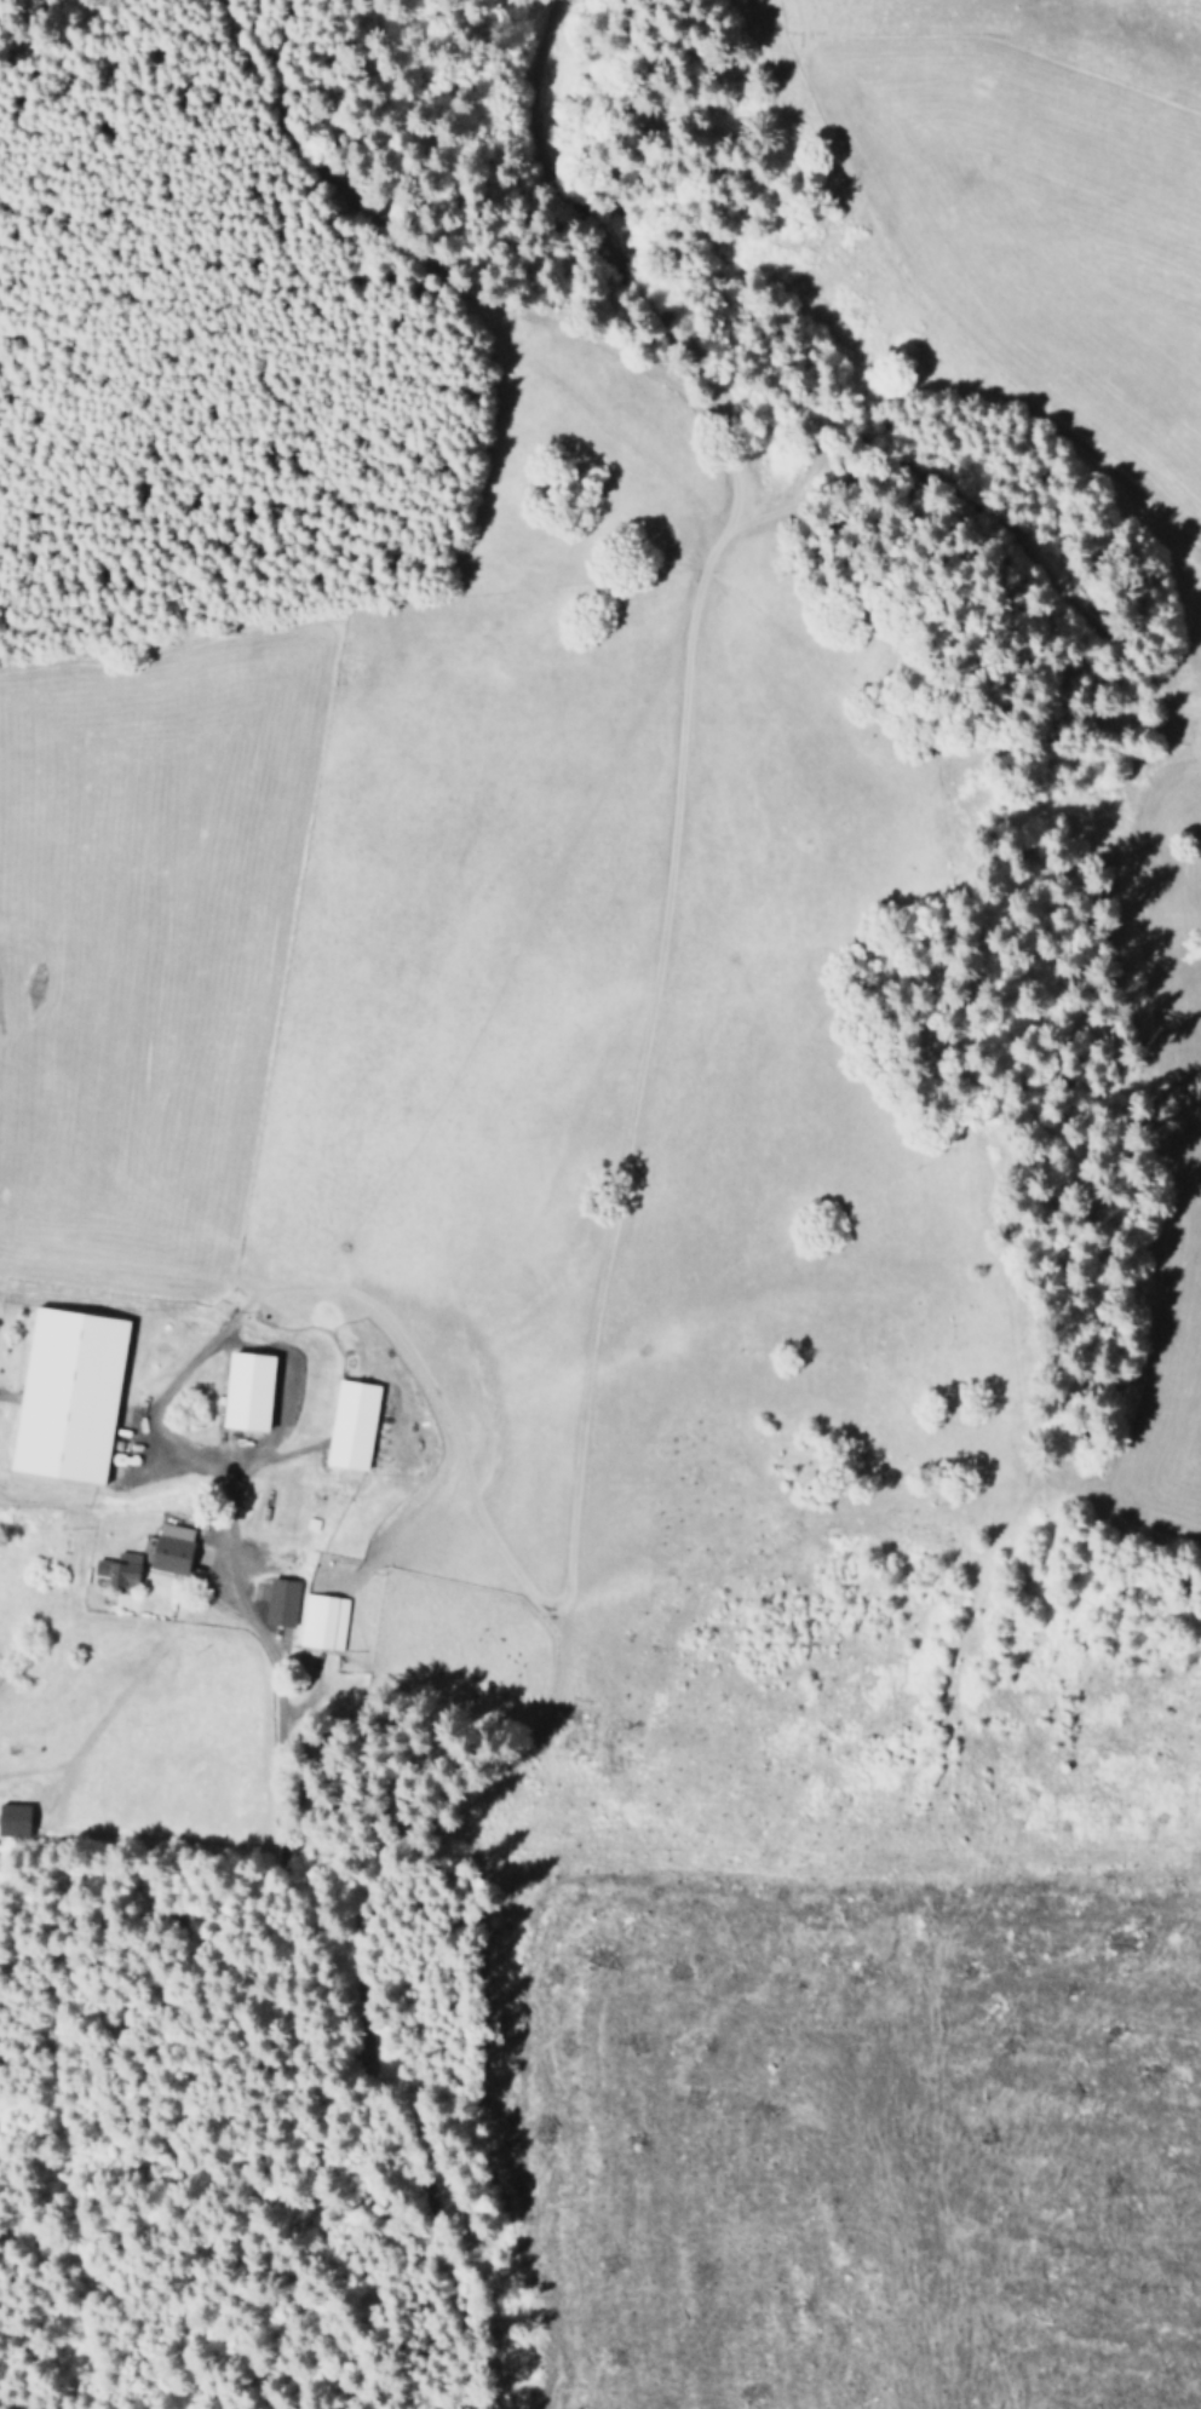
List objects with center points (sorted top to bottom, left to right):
road: (1125, 804)
road: (651, 982)
building: (248, 1390)
building: (69, 1393)
road: (435, 1409)
building: (352, 1424)
building: (172, 1547)
building: (116, 1569)
building: (281, 1602)
building: (322, 1621)
building: (15, 1819)
road: (368, 2012)

